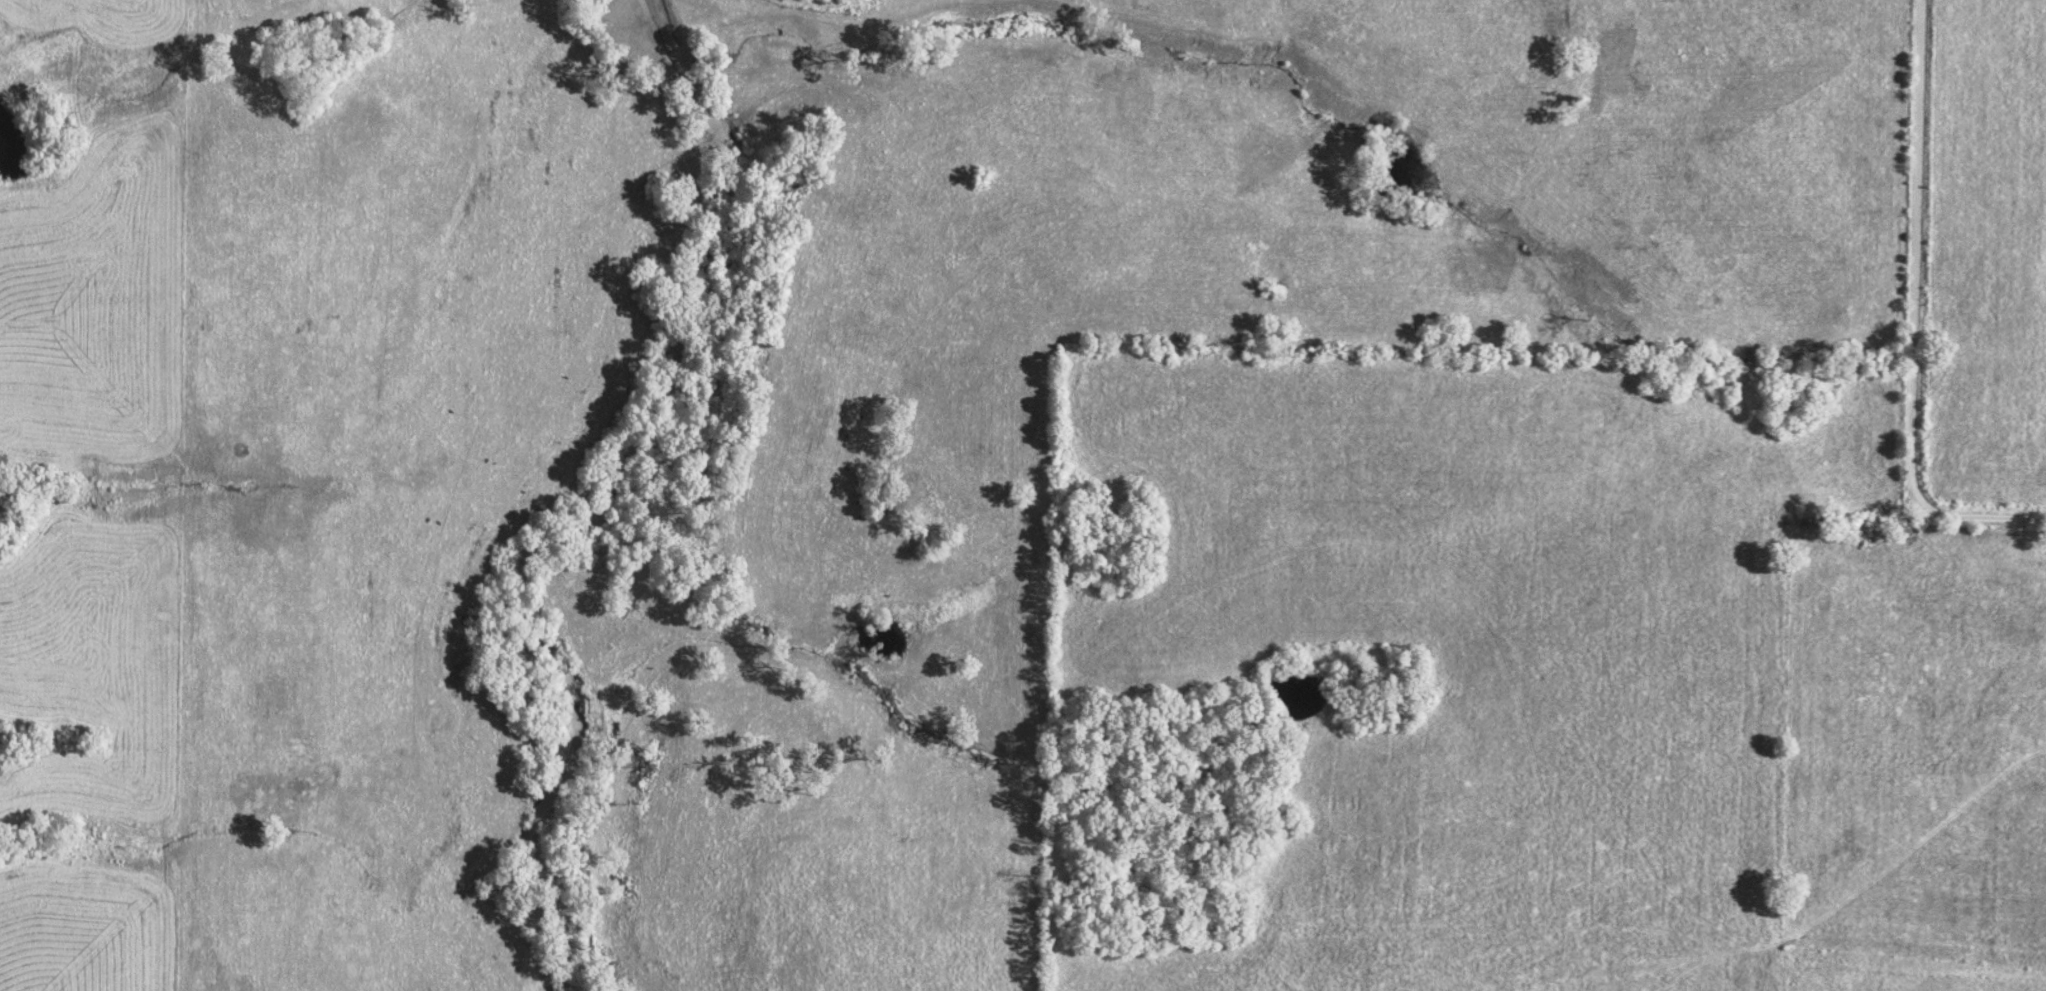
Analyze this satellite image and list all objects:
road: (1911, 318)

